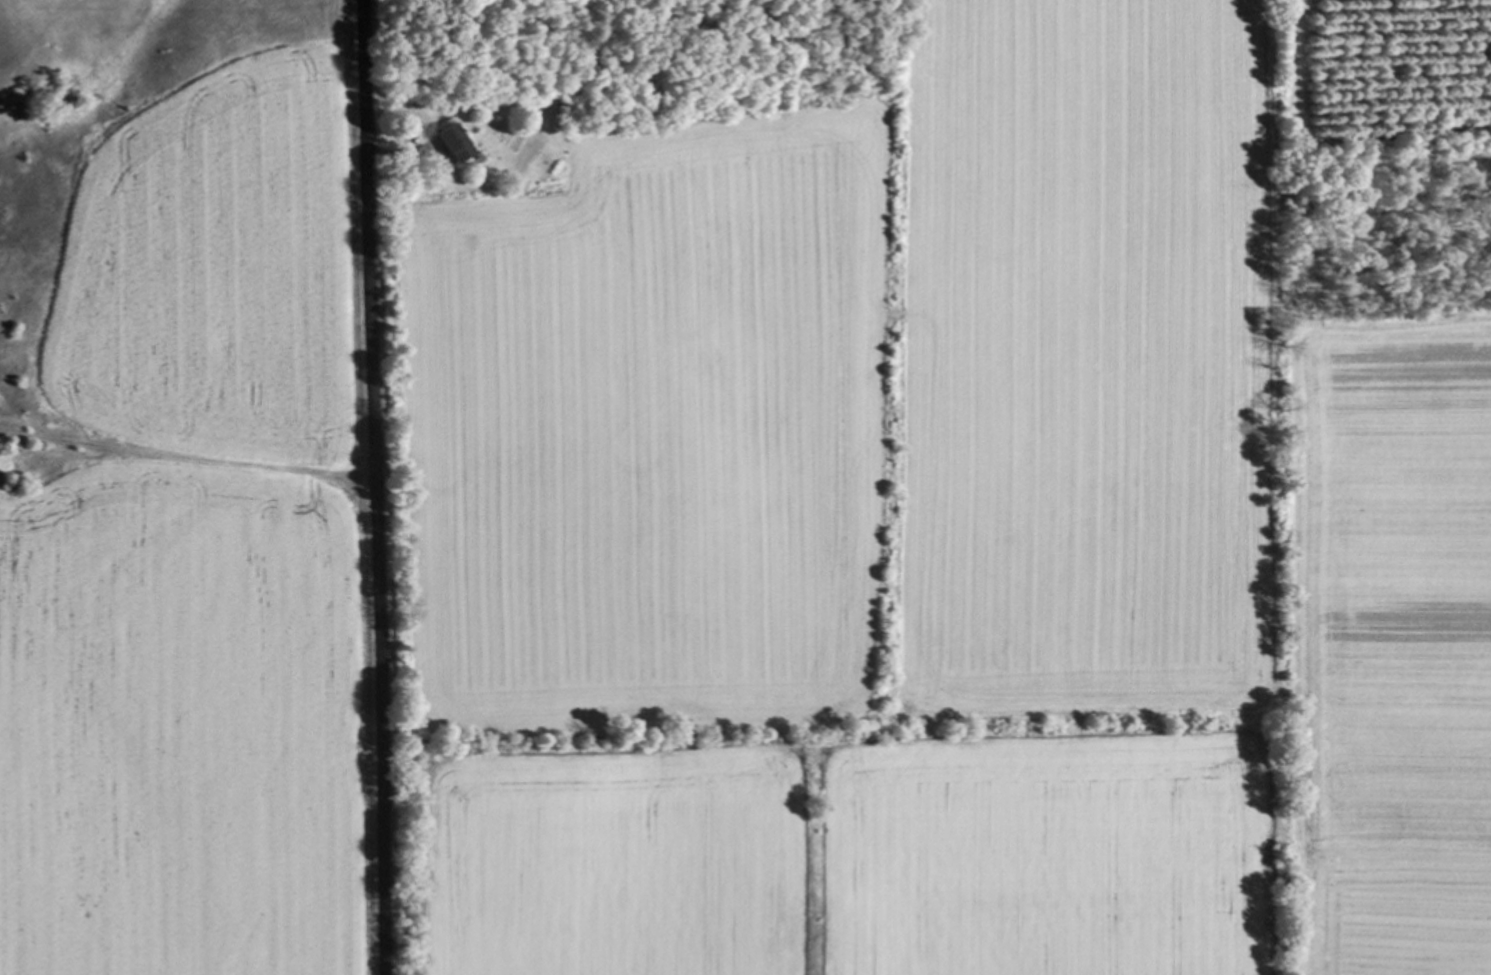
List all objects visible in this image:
building: (456, 144)
road: (380, 487)

